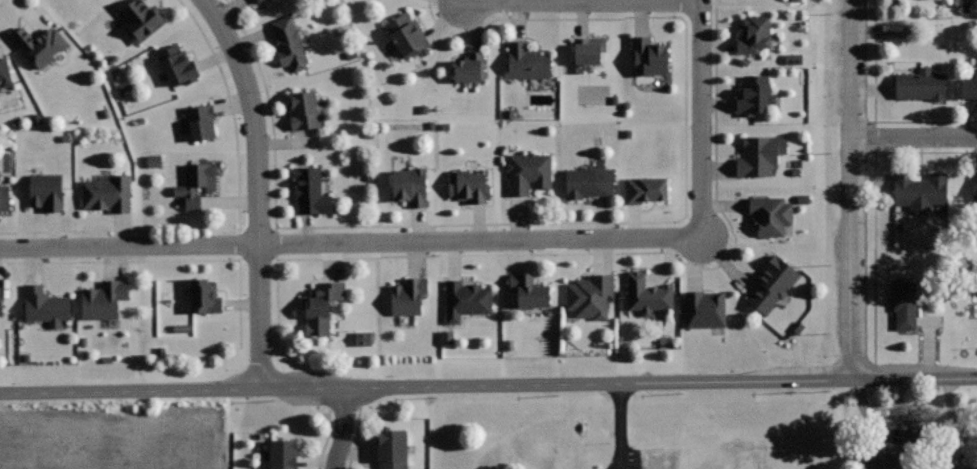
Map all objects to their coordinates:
road: (0, 0)
building: (257, 1)
road: (583, 2)
building: (142, 19)
building: (407, 34)
building: (754, 34)
building: (289, 43)
building: (41, 45)
building: (588, 49)
building: (648, 57)
building: (527, 61)
building: (177, 66)
building: (470, 67)
building: (5, 70)
building: (921, 83)
building: (969, 85)
building: (754, 95)
building: (304, 110)
road: (873, 112)
building: (201, 121)
road: (914, 137)
building: (760, 154)
building: (151, 161)
building: (528, 172)
building: (197, 182)
building: (589, 182)
building: (974, 184)
building: (410, 186)
building: (469, 186)
road: (256, 188)
building: (645, 188)
road: (850, 190)
building: (920, 190)
building: (46, 191)
building: (310, 191)
building: (108, 193)
building: (4, 197)
road: (873, 203)
building: (770, 213)
road: (602, 222)
road: (237, 225)
road: (465, 242)
road: (594, 252)
road: (162, 261)
building: (773, 282)
building: (529, 291)
building: (647, 294)
building: (205, 296)
building: (408, 296)
building: (590, 296)
building: (104, 299)
building: (466, 299)
building: (1, 301)
building: (905, 303)
building: (45, 305)
building: (321, 306)
building: (705, 309)
building: (444, 338)
building: (360, 339)
road: (488, 385)
road: (344, 407)
road: (343, 428)
road: (326, 438)
road: (356, 438)
building: (392, 448)
building: (283, 453)
building: (879, 460)

